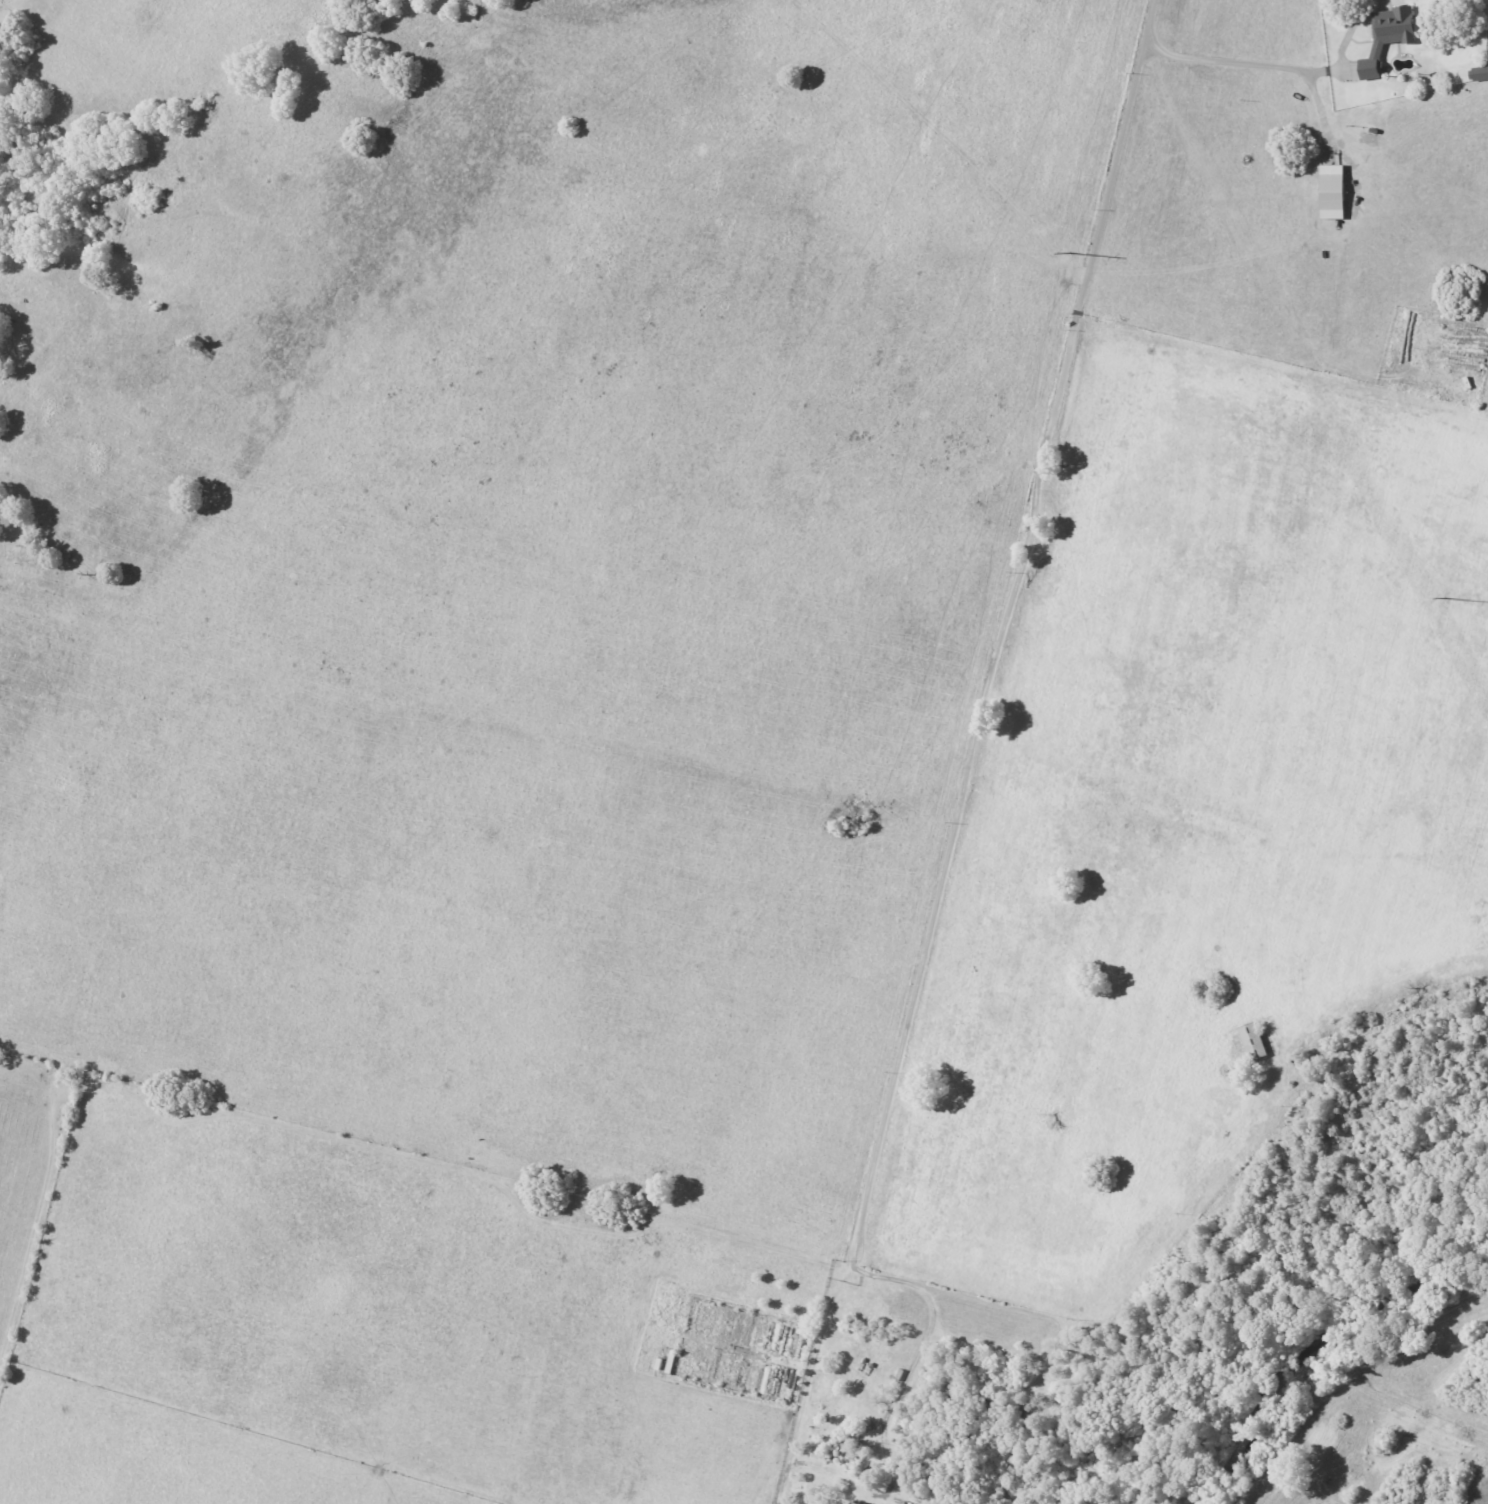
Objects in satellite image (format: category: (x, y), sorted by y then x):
building: (1388, 35)
road: (1274, 66)
building: (1334, 191)
power tower: (1071, 253)
power tower: (1447, 600)
road: (1002, 632)
building: (1253, 1040)
road: (821, 1330)
road: (911, 1364)

